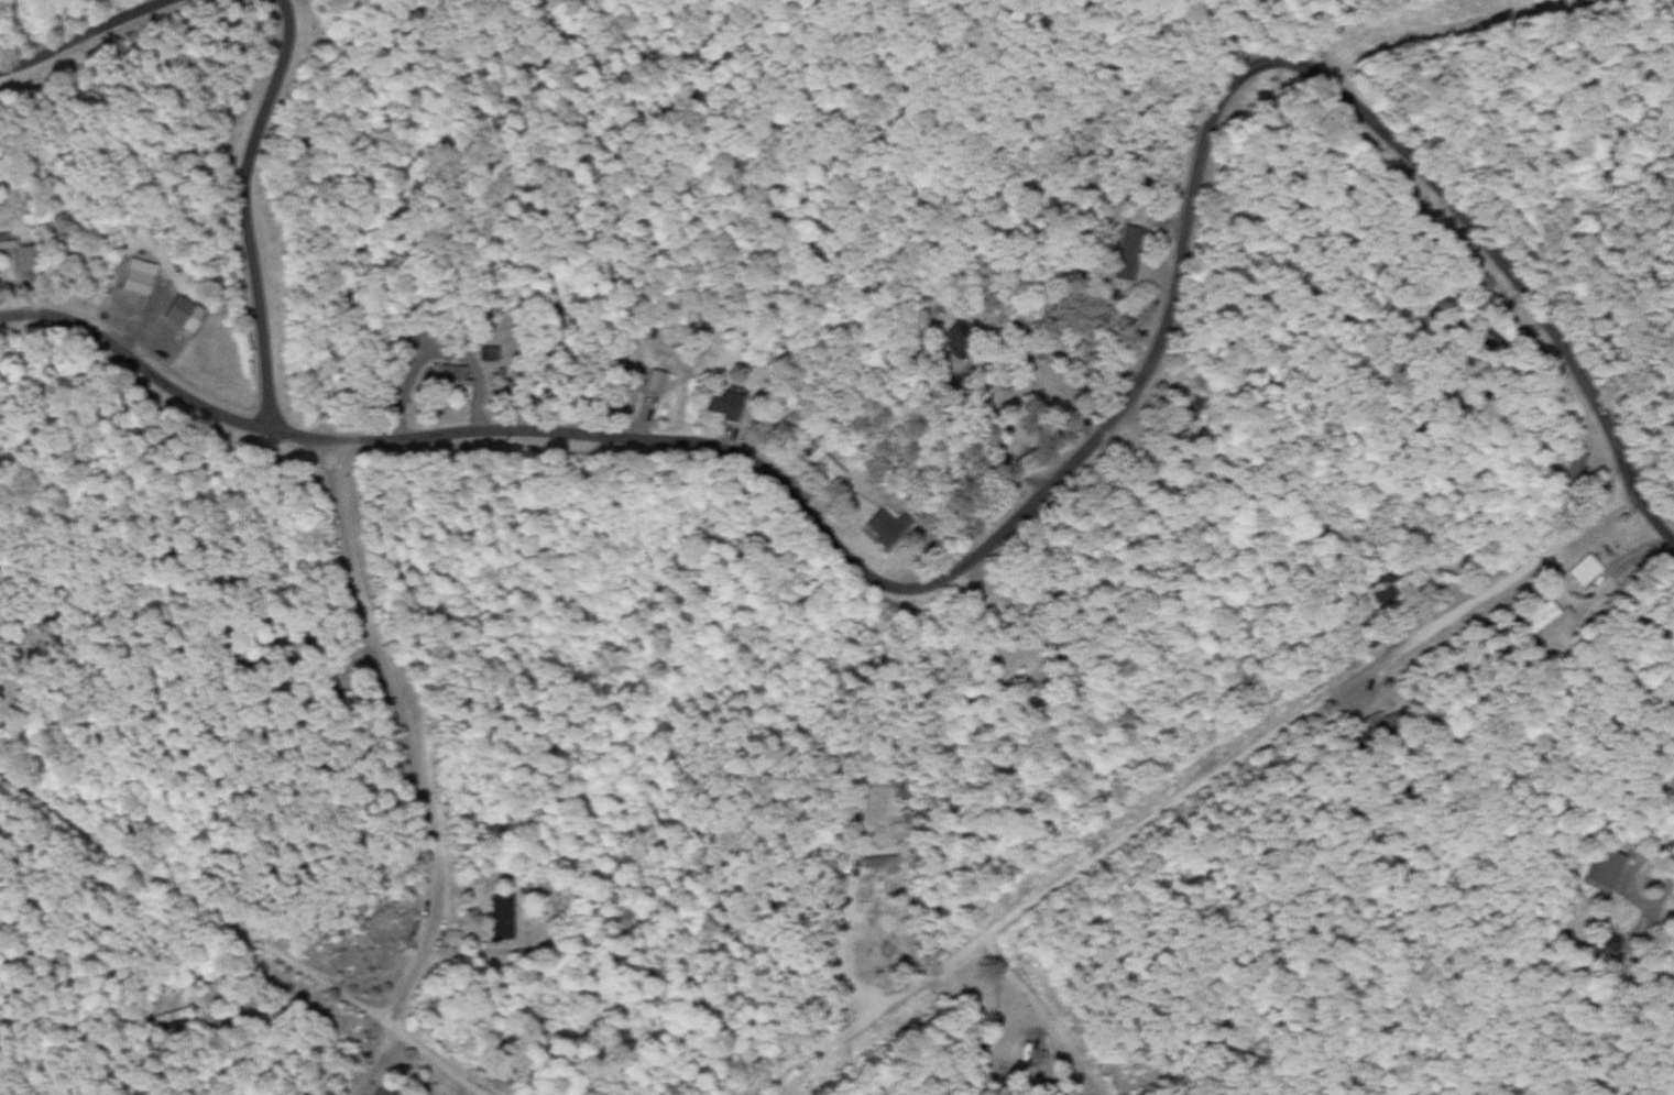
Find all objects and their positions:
road: (85, 39)
road: (1185, 45)
road: (240, 210)
building: (9, 249)
building: (1129, 253)
building: (28, 256)
building: (138, 276)
building: (184, 314)
building: (958, 336)
building: (488, 353)
building: (450, 380)
building: (655, 382)
building: (631, 392)
building: (722, 404)
building: (1194, 404)
building: (821, 466)
road: (1036, 497)
building: (887, 525)
building: (1585, 569)
building: (1540, 615)
building: (1383, 720)
road: (404, 740)
road: (1194, 791)
building: (1606, 867)
building: (501, 917)
building: (452, 938)
building: (1613, 946)
road: (365, 1014)
road: (1041, 1017)
road: (373, 1064)
building: (384, 1089)

